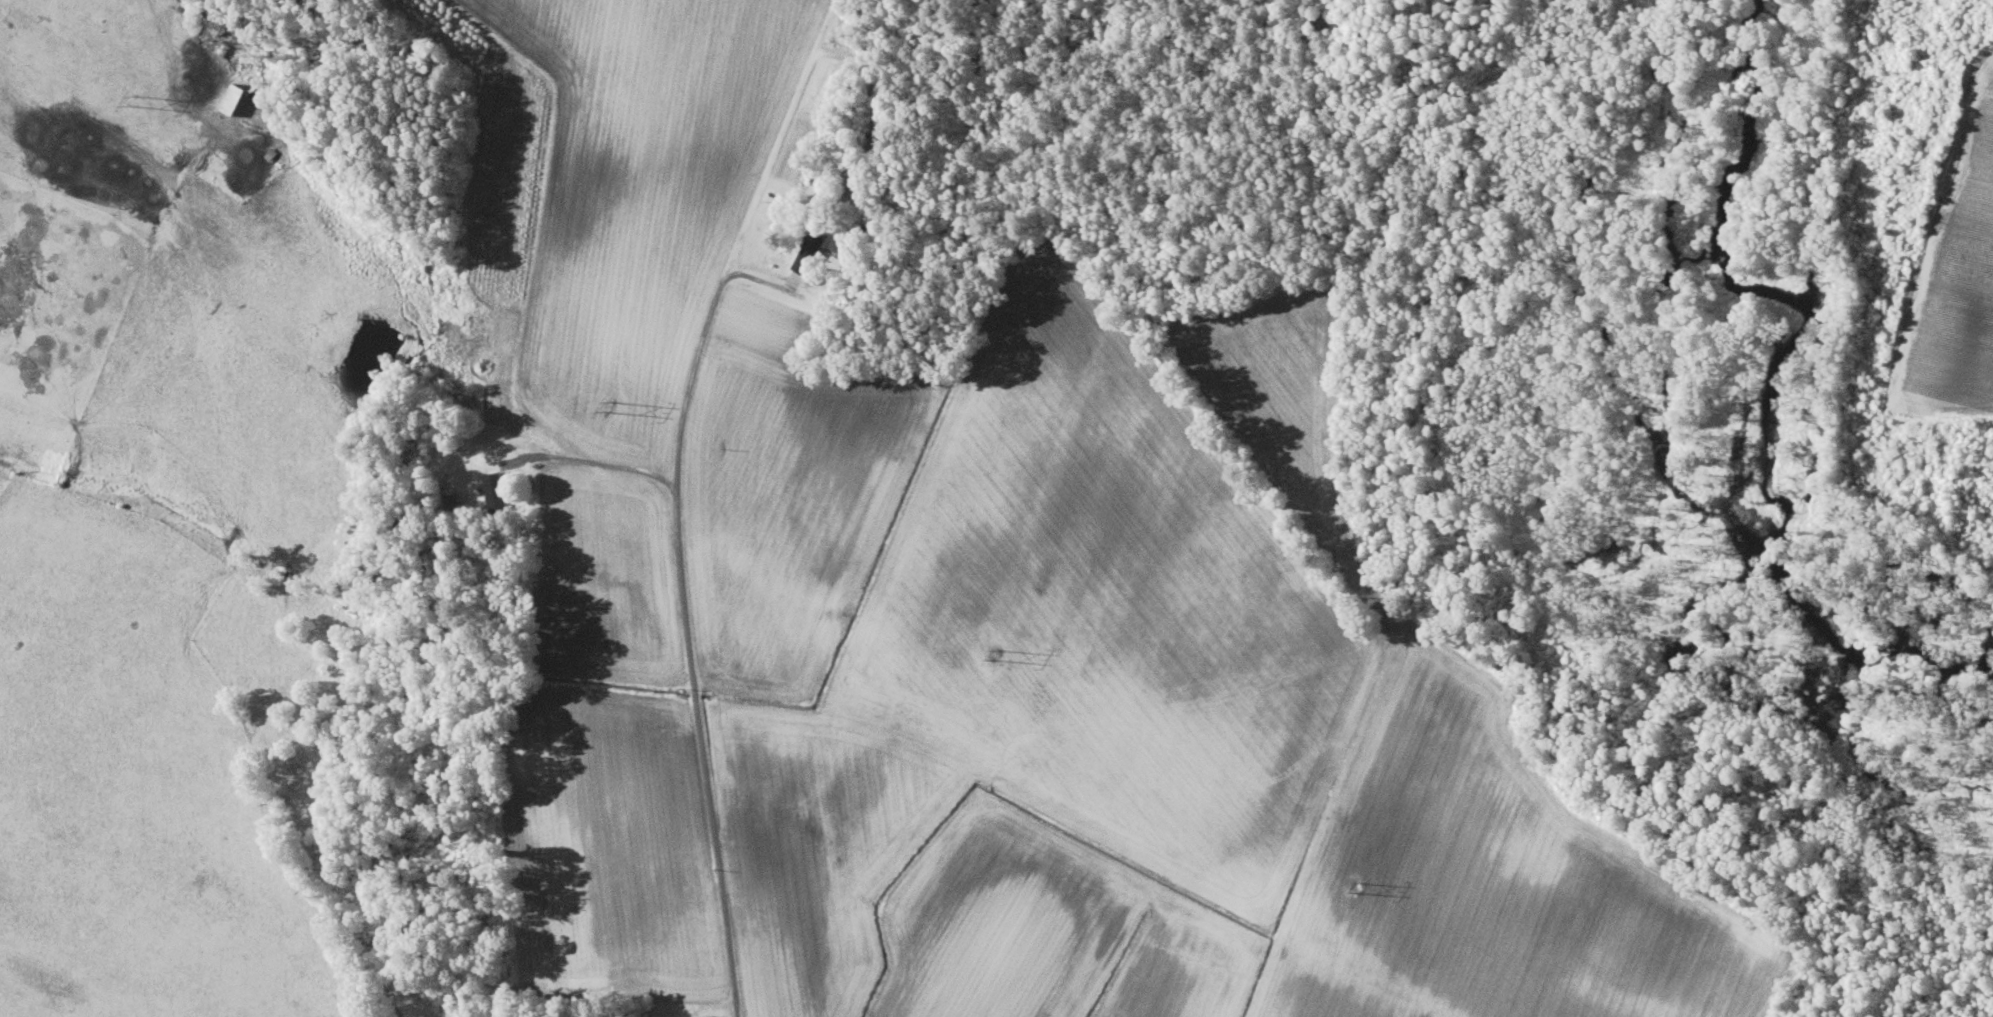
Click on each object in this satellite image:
power tower: (133, 97)
building: (235, 97)
building: (811, 250)
power tower: (610, 407)
building: (497, 492)
power tower: (998, 652)
road: (698, 713)
power tower: (1358, 885)

